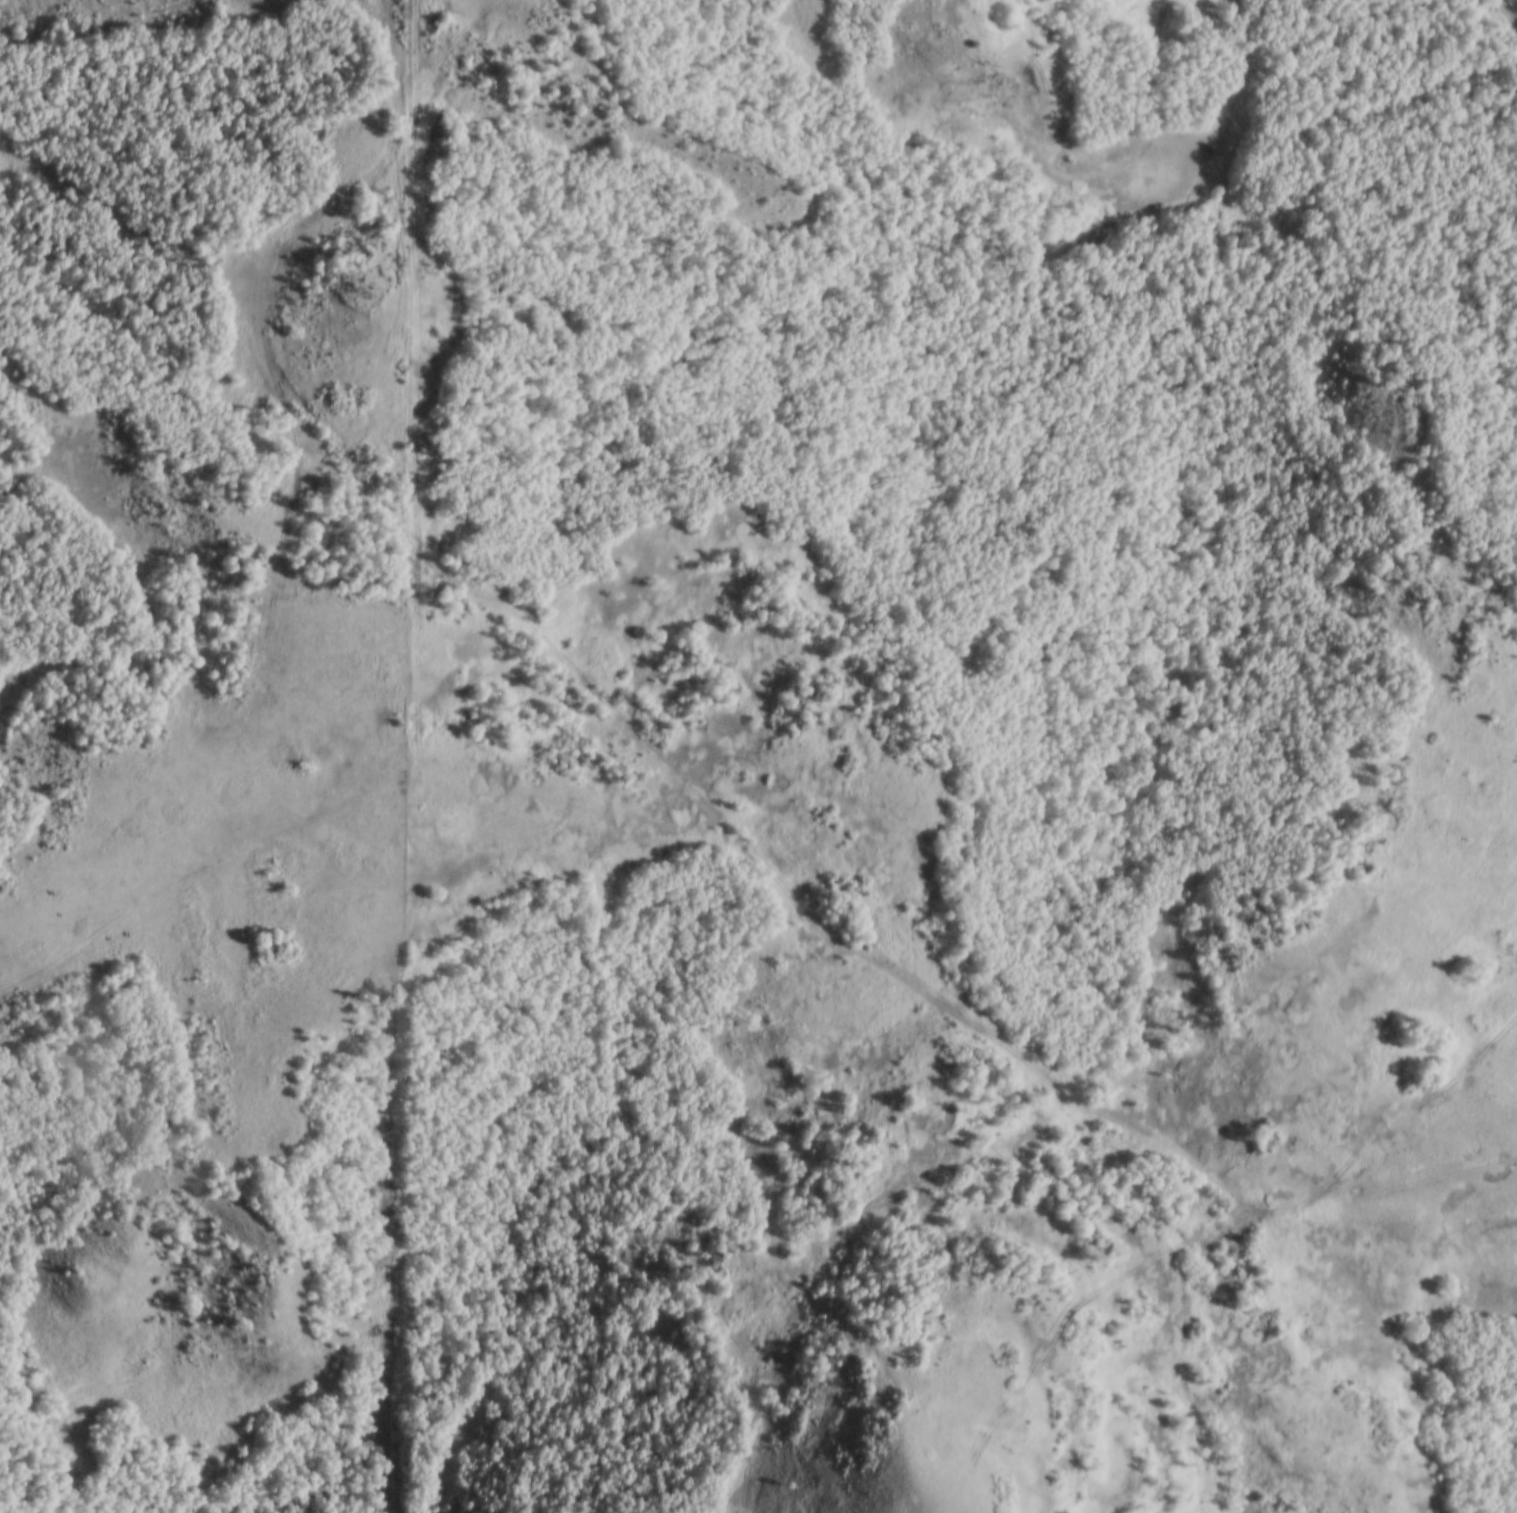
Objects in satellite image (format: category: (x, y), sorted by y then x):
road: (1507, 10)

